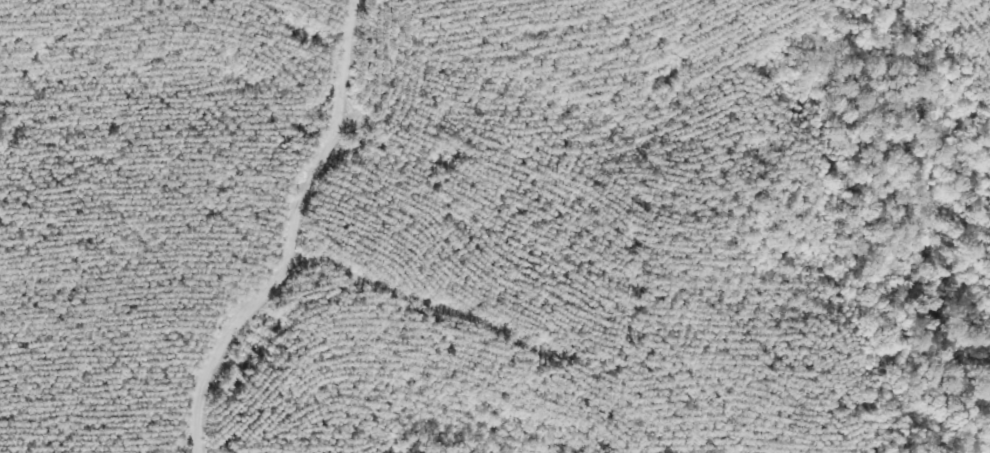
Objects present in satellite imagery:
road: (214, 235)

